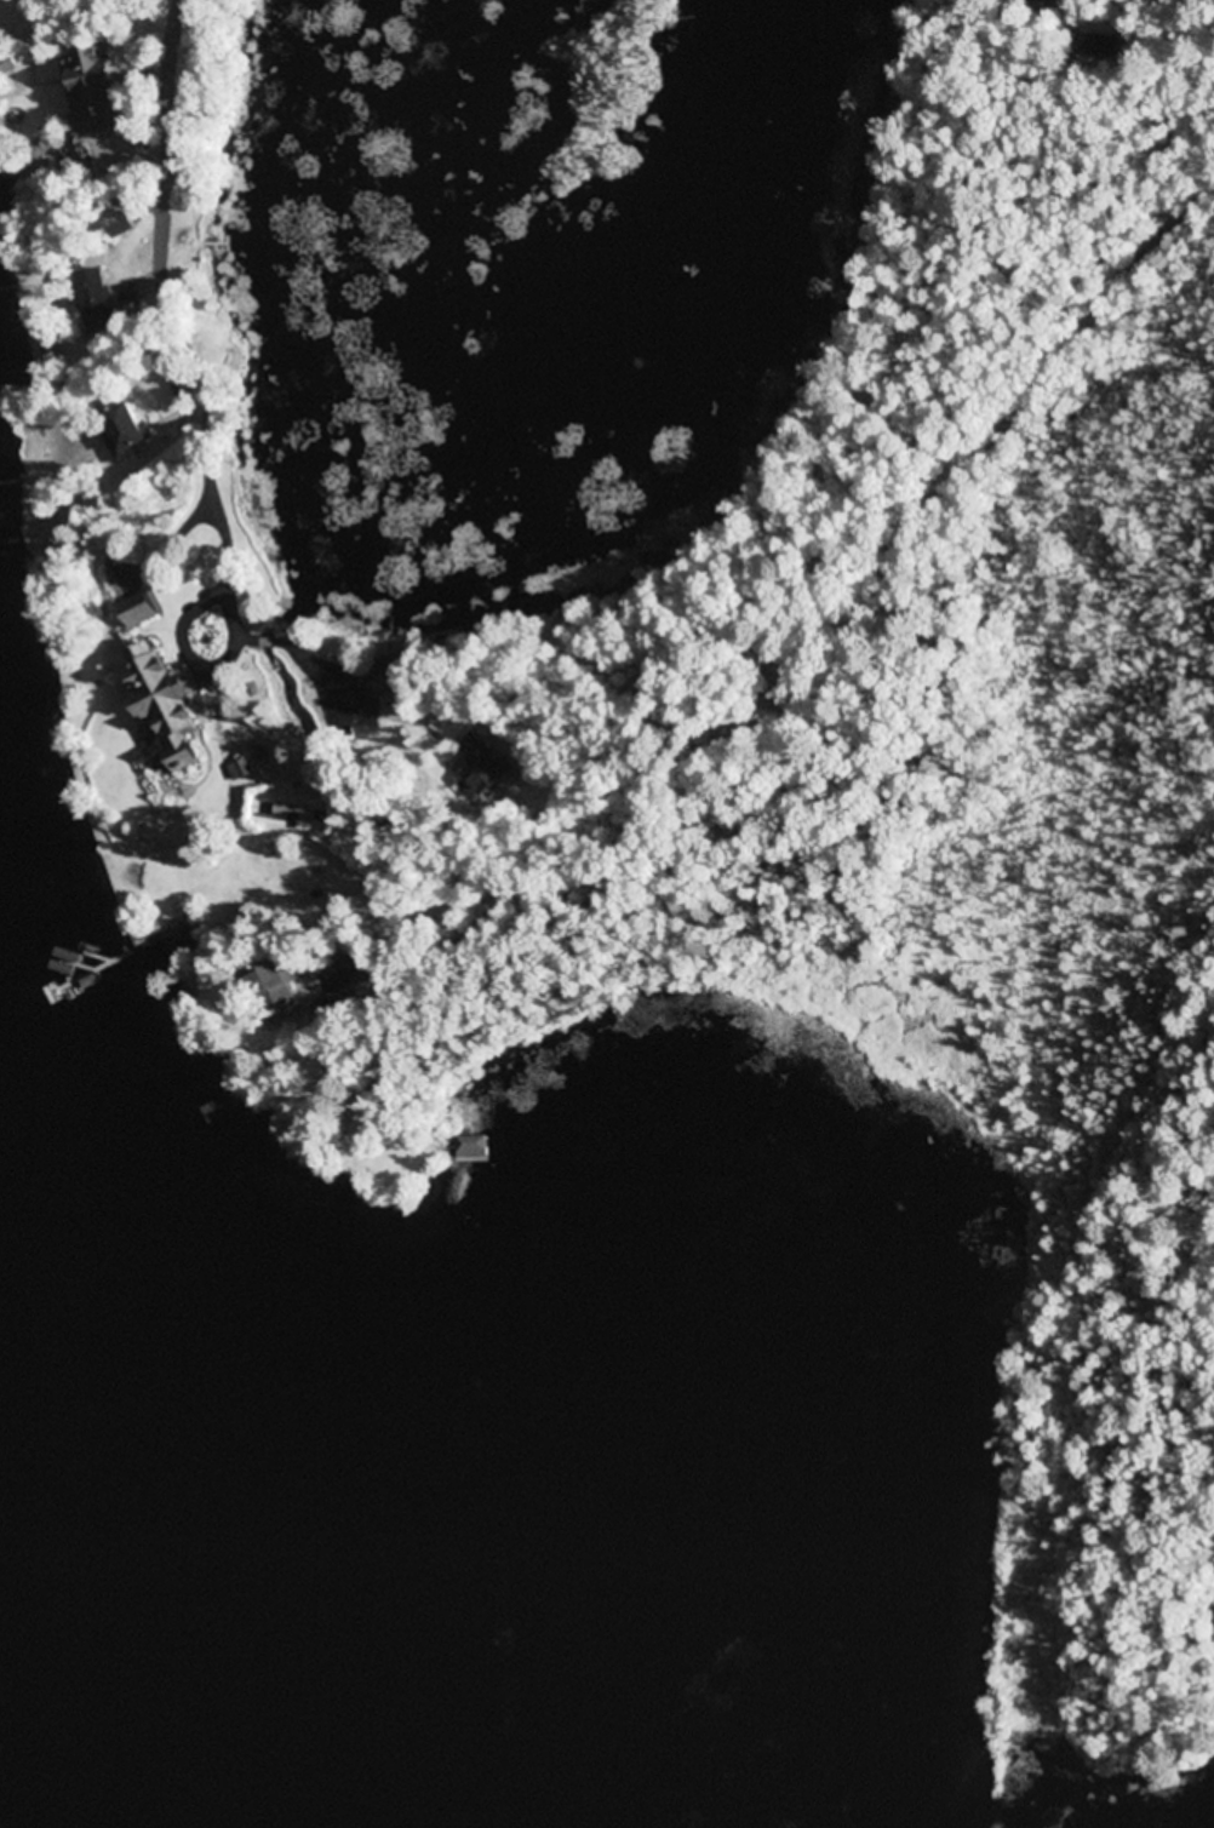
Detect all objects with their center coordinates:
building: (6, 64)
building: (97, 87)
road: (174, 159)
building: (98, 299)
building: (184, 390)
road: (1015, 413)
building: (127, 432)
road: (211, 482)
building: (142, 611)
road: (267, 640)
building: (386, 680)
building: (165, 701)
building: (482, 769)
road: (551, 871)
building: (277, 987)
building: (473, 1148)
river: (36, 1780)

